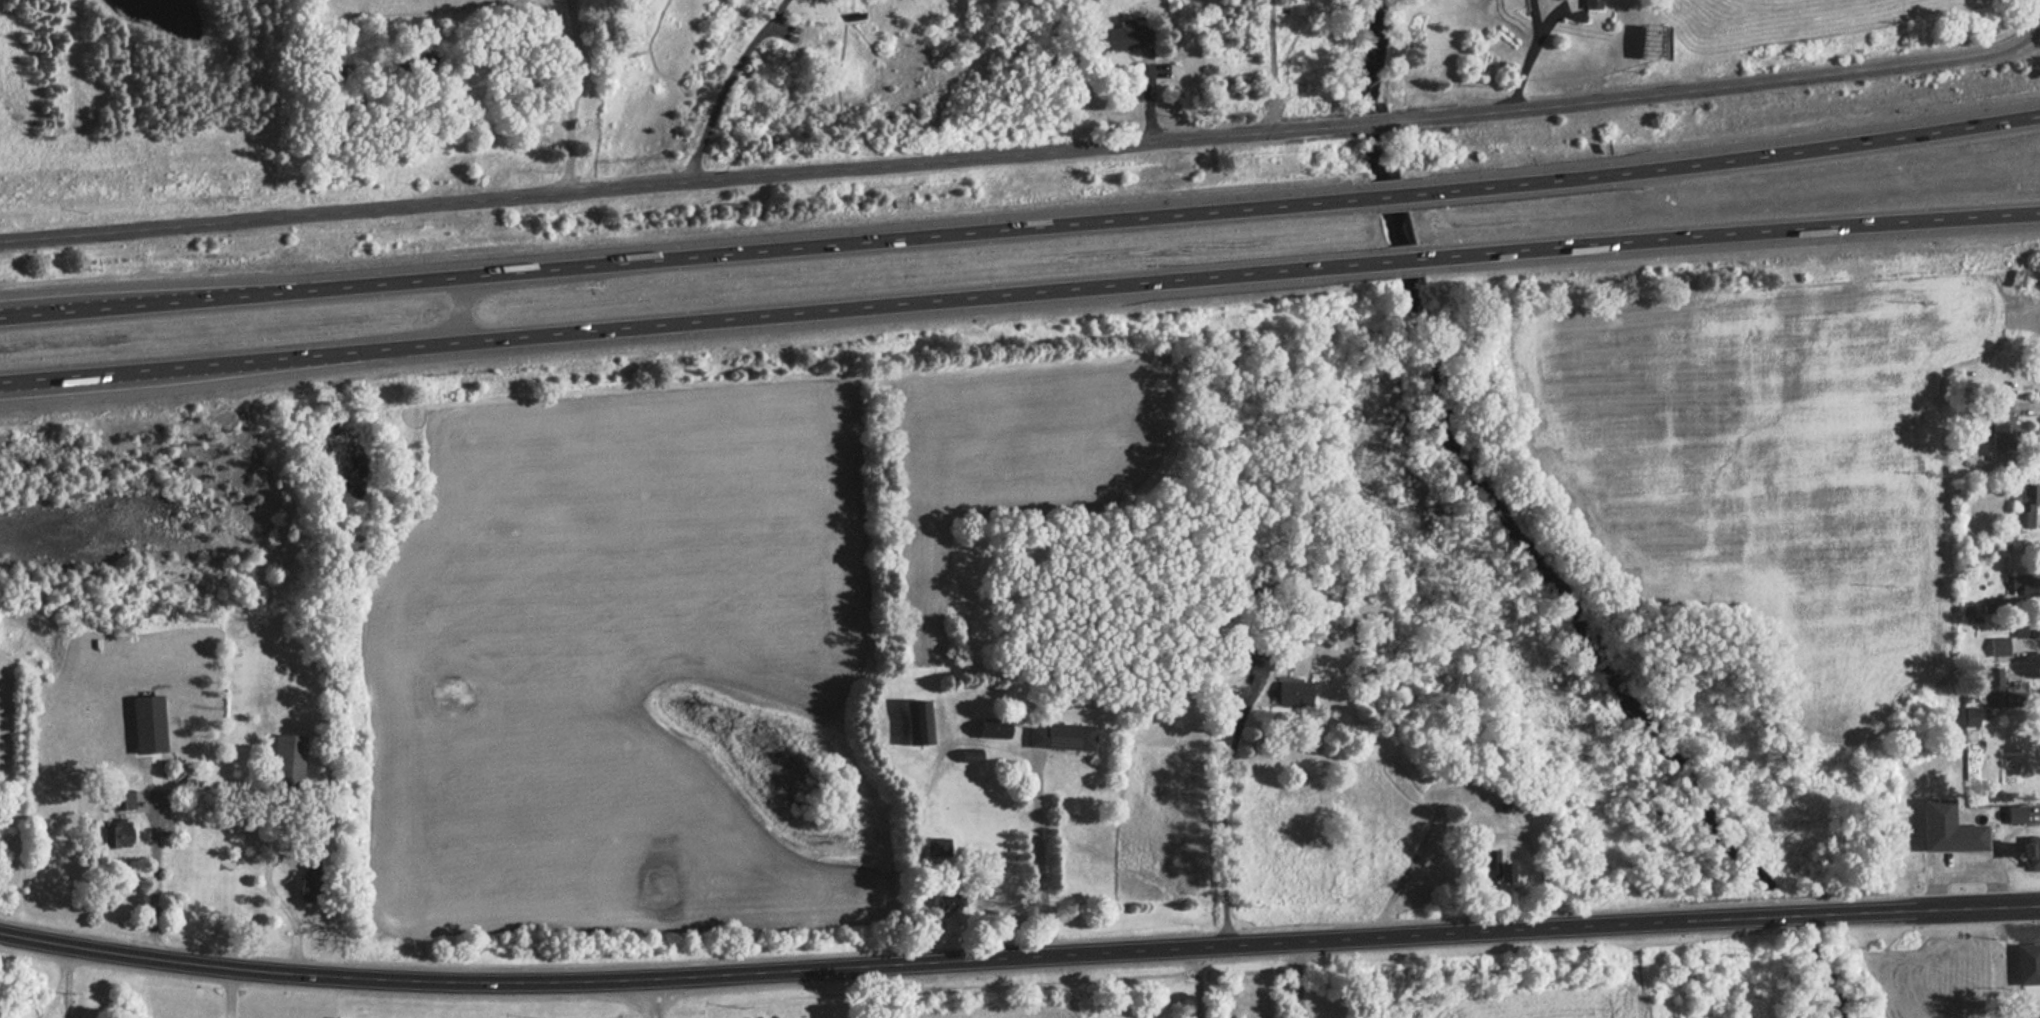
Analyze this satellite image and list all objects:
building: (1117, 37)
road: (1527, 52)
road: (1717, 83)
road: (726, 84)
road: (572, 94)
road: (1373, 118)
road: (682, 179)
road: (1021, 225)
road: (1019, 291)
road: (463, 306)
building: (1998, 425)
building: (2022, 507)
building: (2025, 626)
building: (1994, 646)
building: (1988, 684)
building: (1289, 693)
building: (913, 721)
building: (989, 728)
road: (978, 735)
building: (1056, 736)
building: (290, 752)
building: (969, 755)
road: (1222, 813)
building: (2016, 814)
building: (1948, 828)
building: (119, 830)
building: (2032, 852)
building: (1491, 867)
road: (1965, 868)
road: (157, 870)
road: (292, 874)
building: (311, 888)
building: (944, 902)
road: (1927, 909)
road: (1801, 913)
road: (892, 962)
building: (2025, 966)
road: (1298, 978)
road: (65, 980)
road: (1198, 982)
road: (229, 992)

